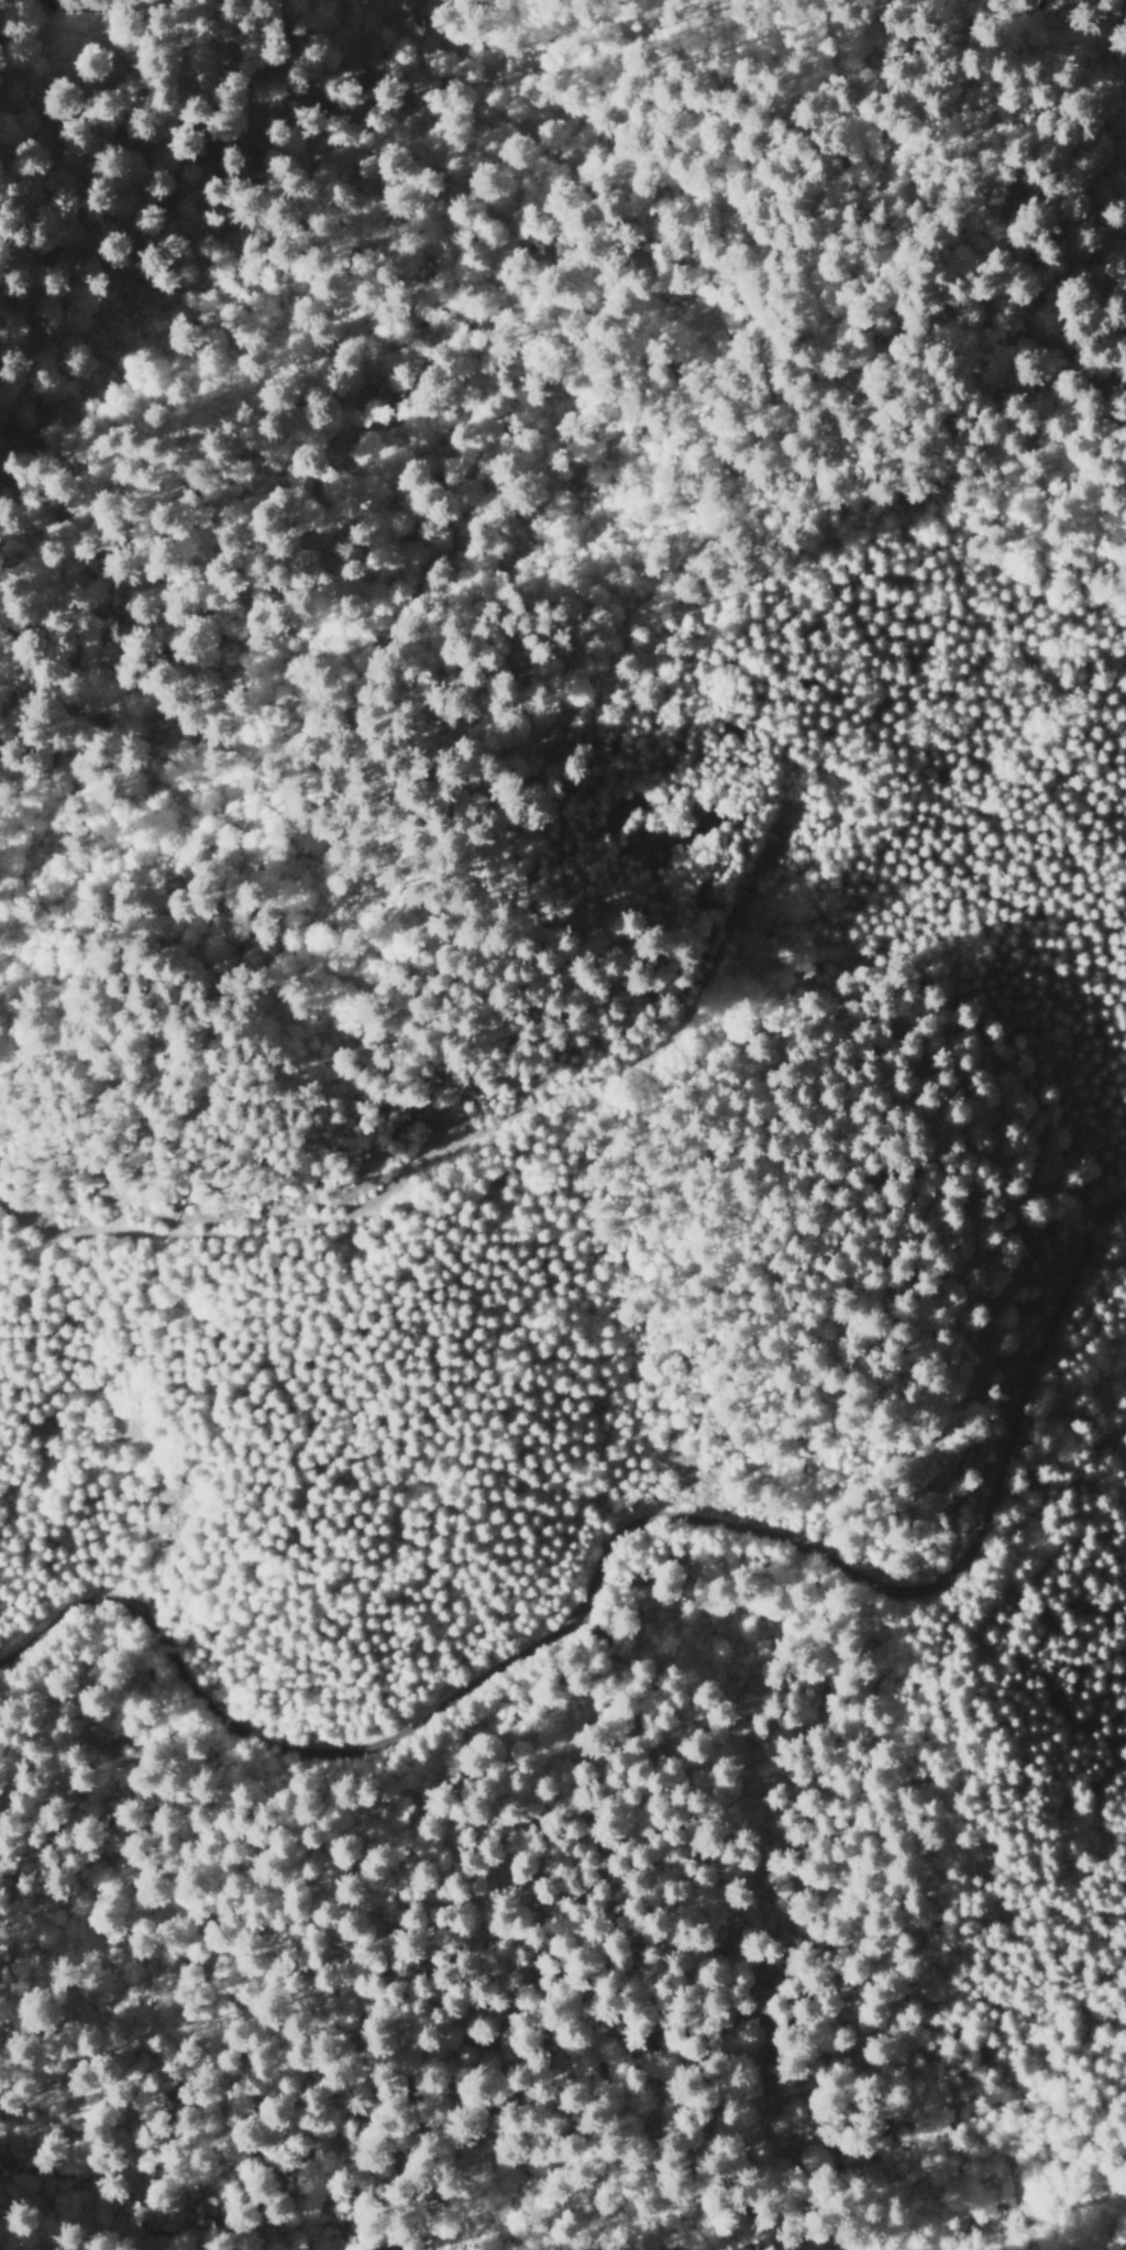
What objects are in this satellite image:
road: (601, 1571)

